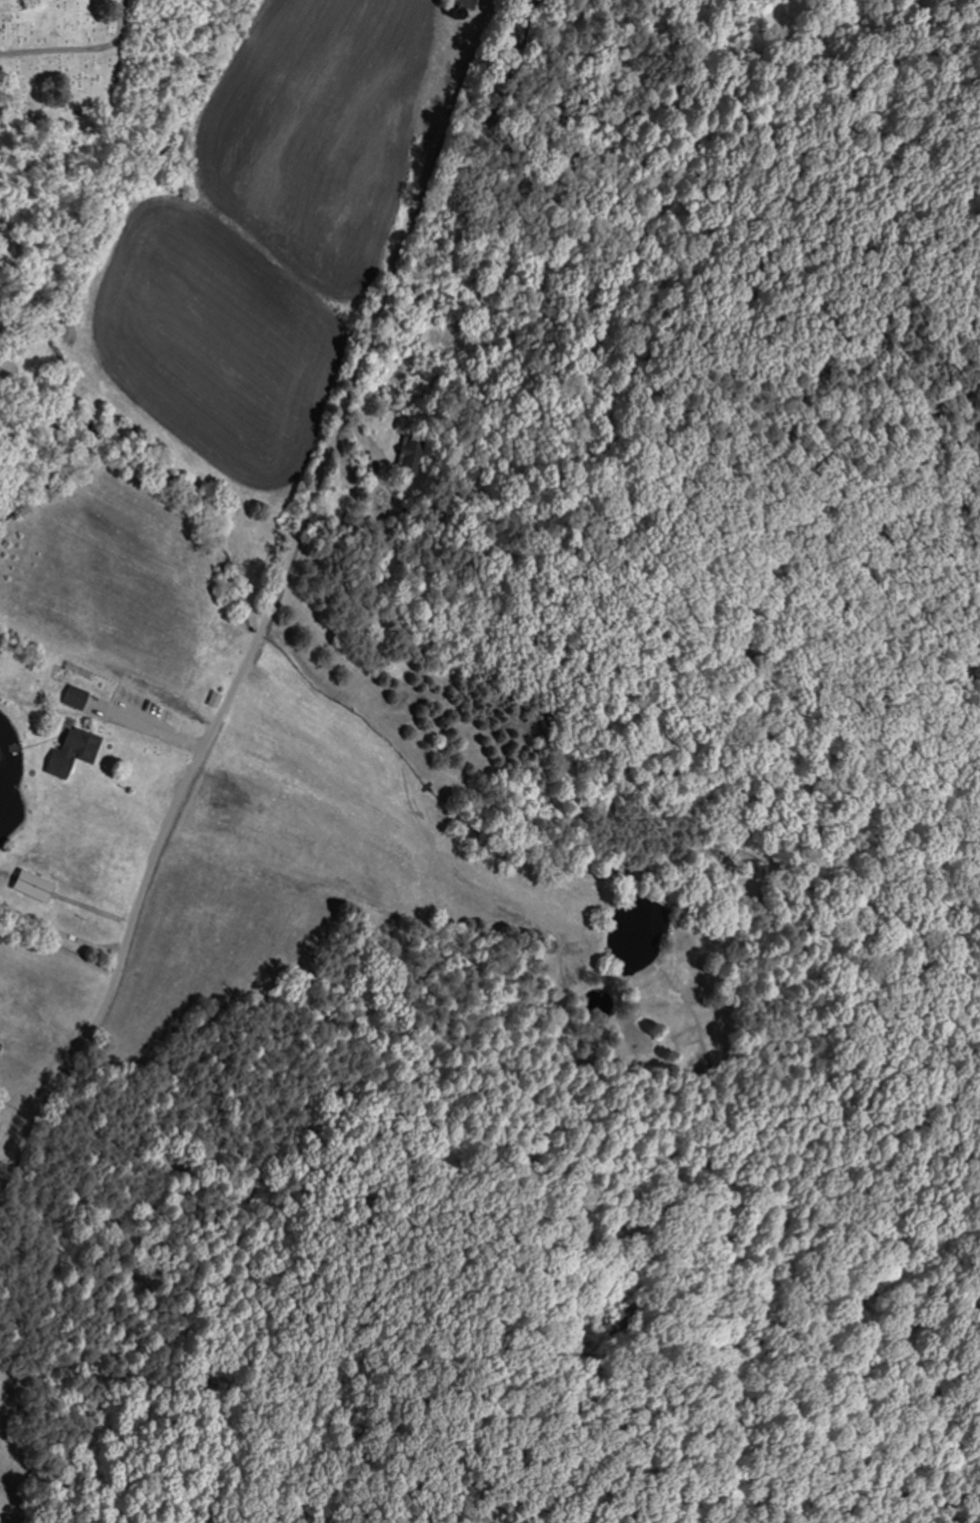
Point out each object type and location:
park: (59, 58)
building: (414, 454)
road: (272, 606)
building: (74, 698)
building: (212, 702)
building: (71, 752)
building: (31, 886)

